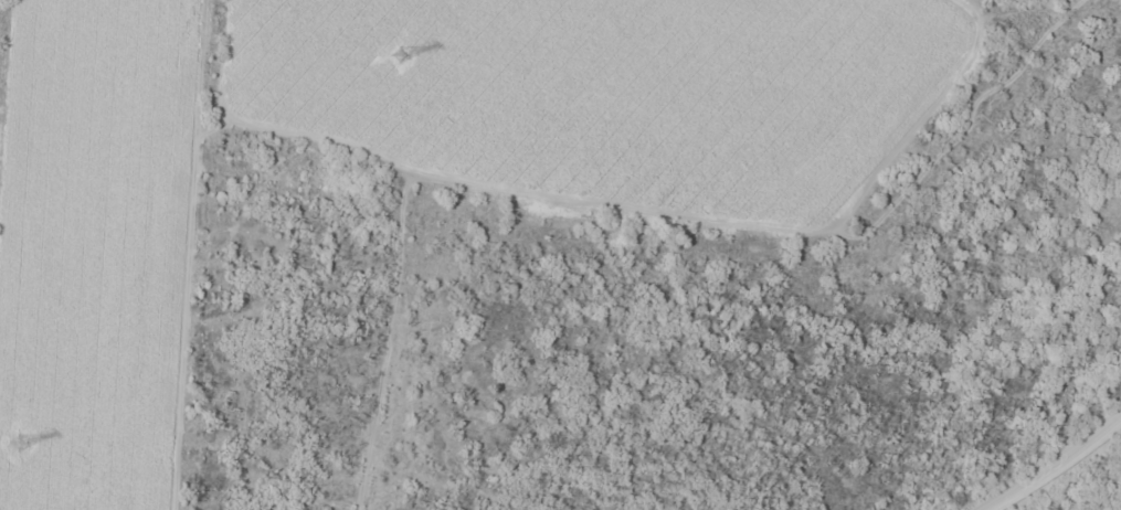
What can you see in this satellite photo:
power tower: (403, 59)
power tower: (22, 445)
road: (1054, 463)

